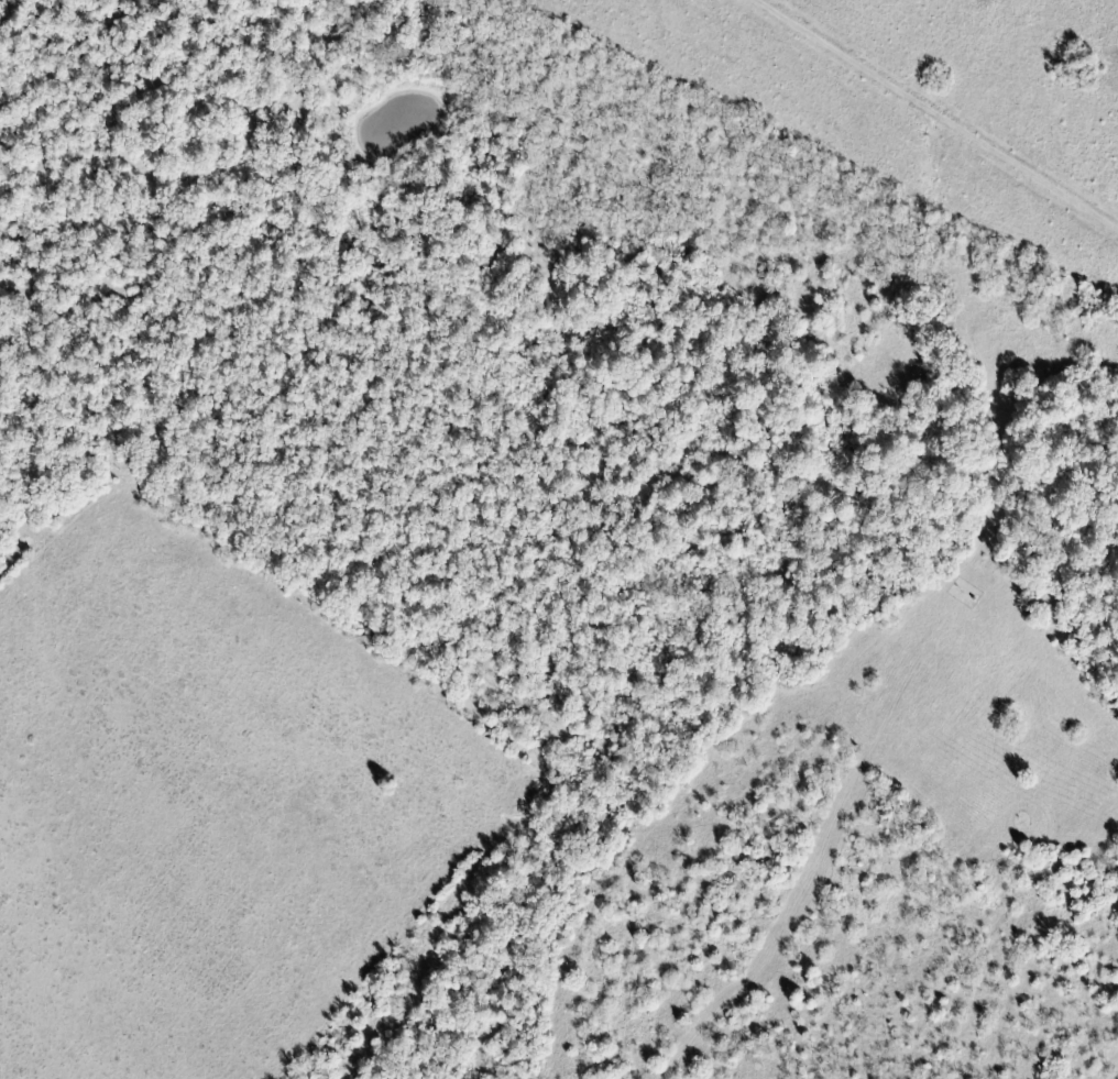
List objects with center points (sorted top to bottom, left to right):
road: (936, 115)

